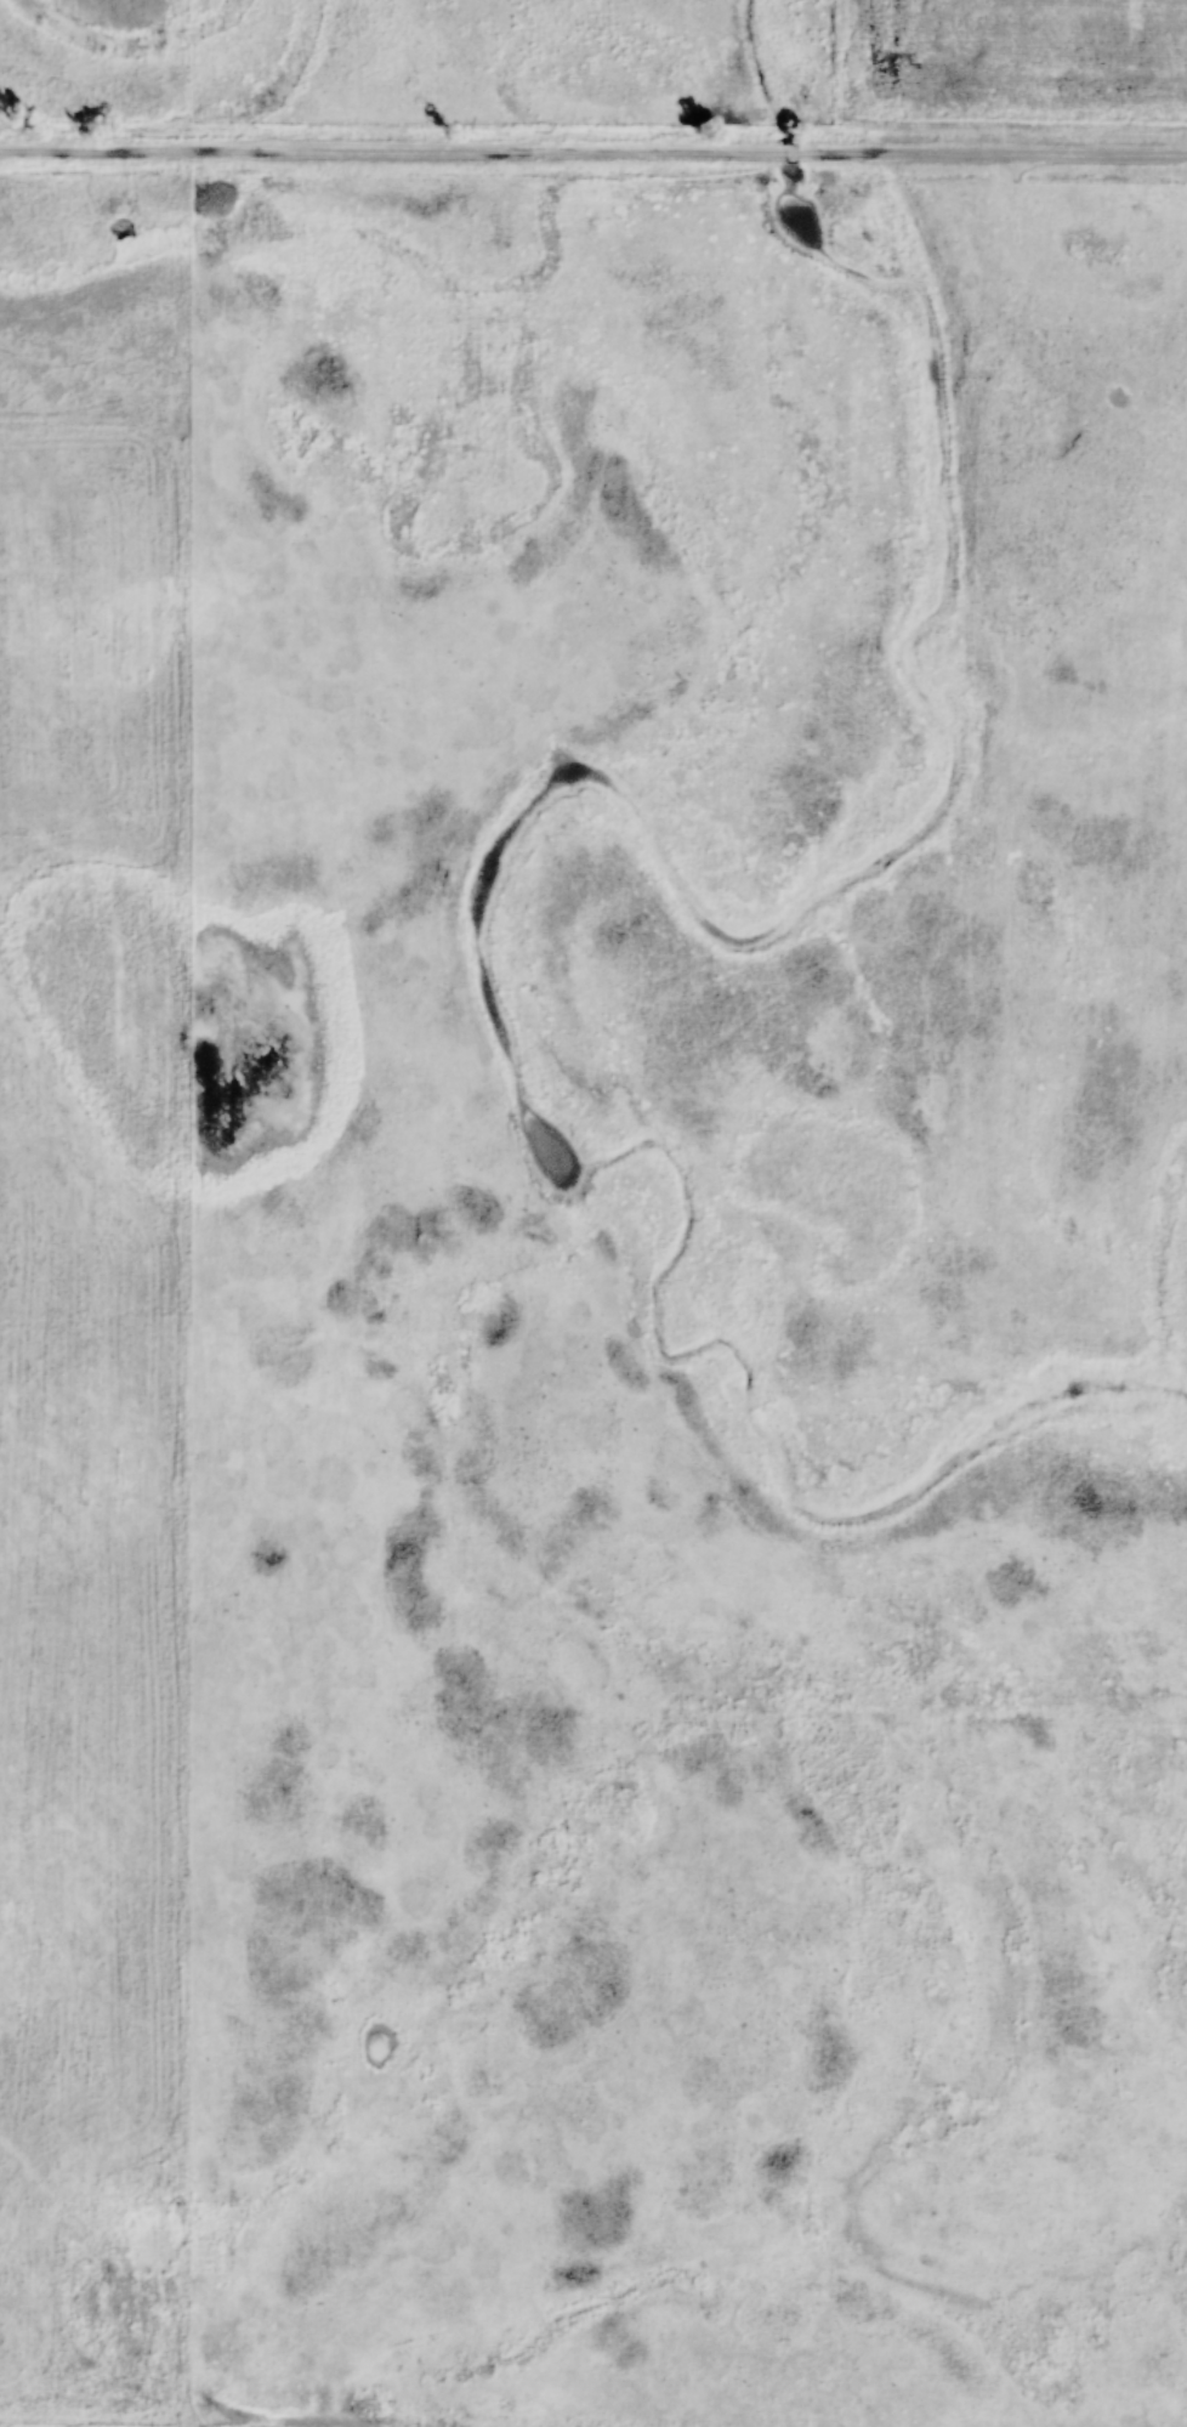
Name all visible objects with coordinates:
road: (592, 158)

